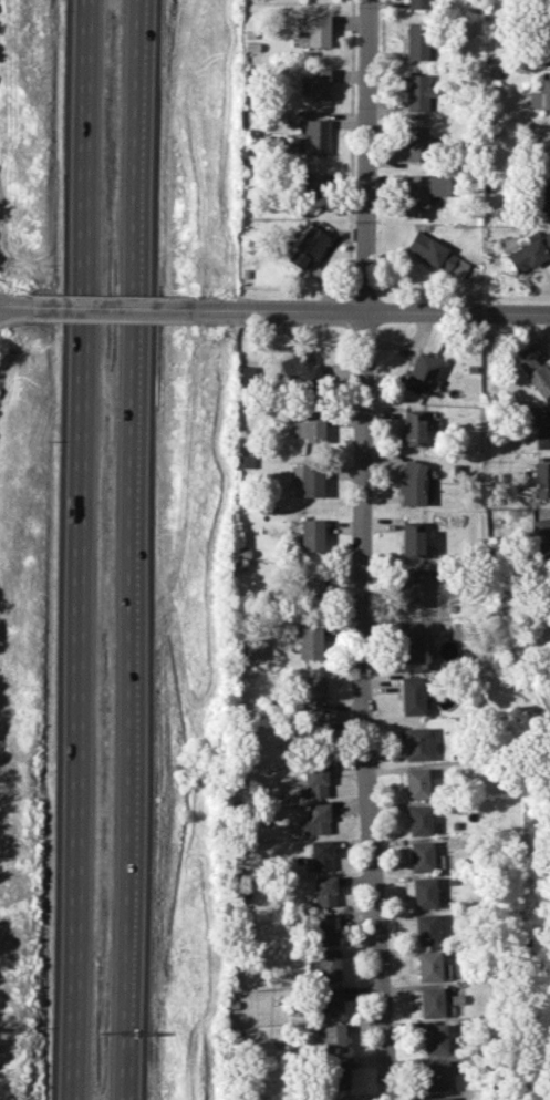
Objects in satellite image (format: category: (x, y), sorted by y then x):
building: (417, 3)
building: (313, 29)
building: (418, 41)
building: (544, 43)
building: (316, 84)
building: (417, 92)
building: (540, 95)
building: (316, 136)
building: (415, 143)
building: (543, 146)
building: (314, 191)
building: (422, 193)
building: (543, 199)
building: (303, 246)
building: (529, 251)
building: (436, 255)
road: (12, 305)
road: (110, 307)
road: (372, 312)
building: (300, 368)
building: (245, 373)
building: (421, 373)
building: (536, 374)
building: (310, 426)
building: (413, 428)
building: (542, 429)
building: (309, 480)
building: (541, 480)
building: (412, 483)
building: (311, 534)
building: (540, 537)
building: (411, 538)
road: (81, 549)
road: (132, 549)
road: (357, 549)
building: (549, 576)
building: (310, 586)
building: (409, 587)
building: (309, 642)
building: (411, 646)
building: (253, 651)
building: (311, 695)
building: (411, 695)
building: (310, 727)
building: (415, 743)
building: (319, 752)
building: (312, 783)
building: (416, 783)
building: (418, 820)
building: (312, 821)
building: (320, 855)
building: (421, 856)
building: (324, 891)
building: (424, 893)
building: (325, 928)
building: (426, 929)
building: (329, 965)
building: (428, 966)
building: (331, 1001)
building: (430, 1001)
building: (334, 1038)
building: (434, 1038)
building: (336, 1075)
building: (436, 1075)
building: (339, 1098)
building: (438, 1098)

